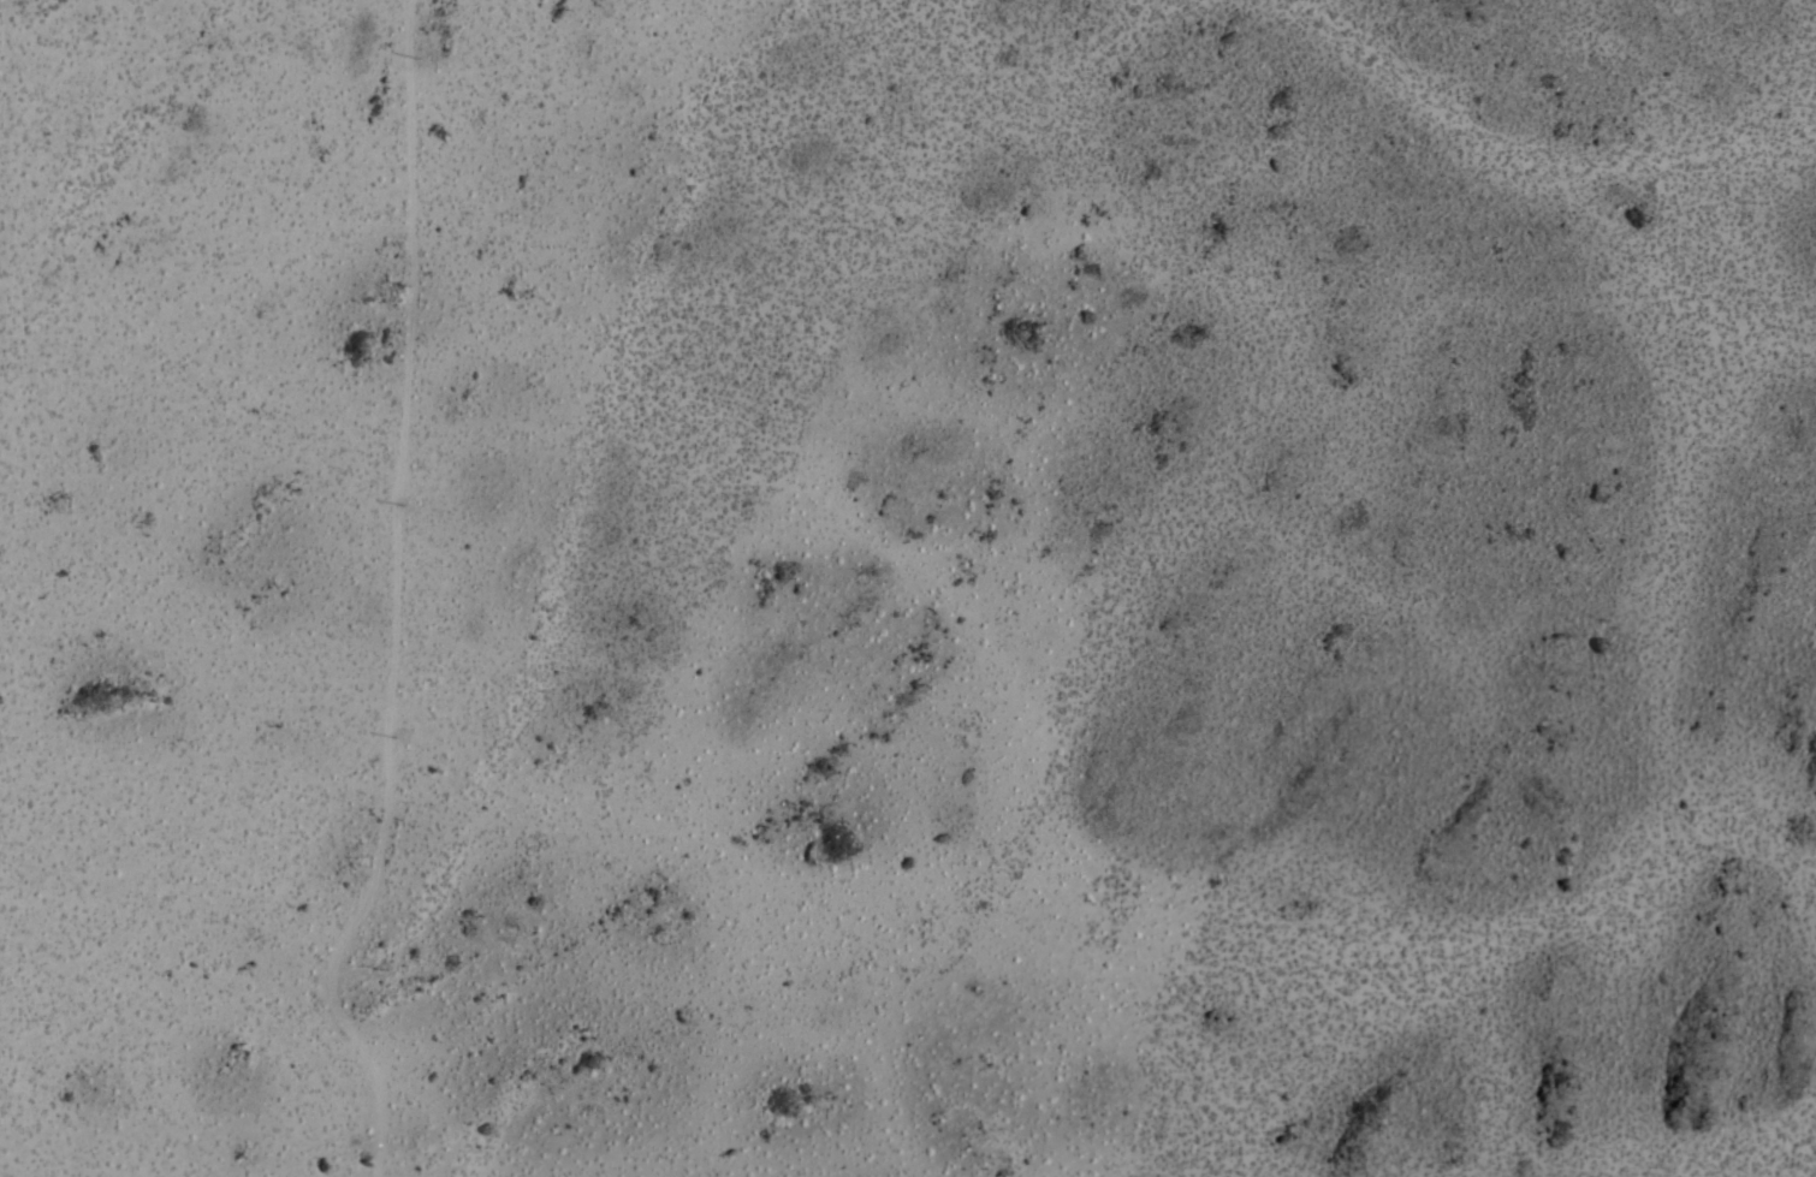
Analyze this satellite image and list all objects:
road: (392, 600)

